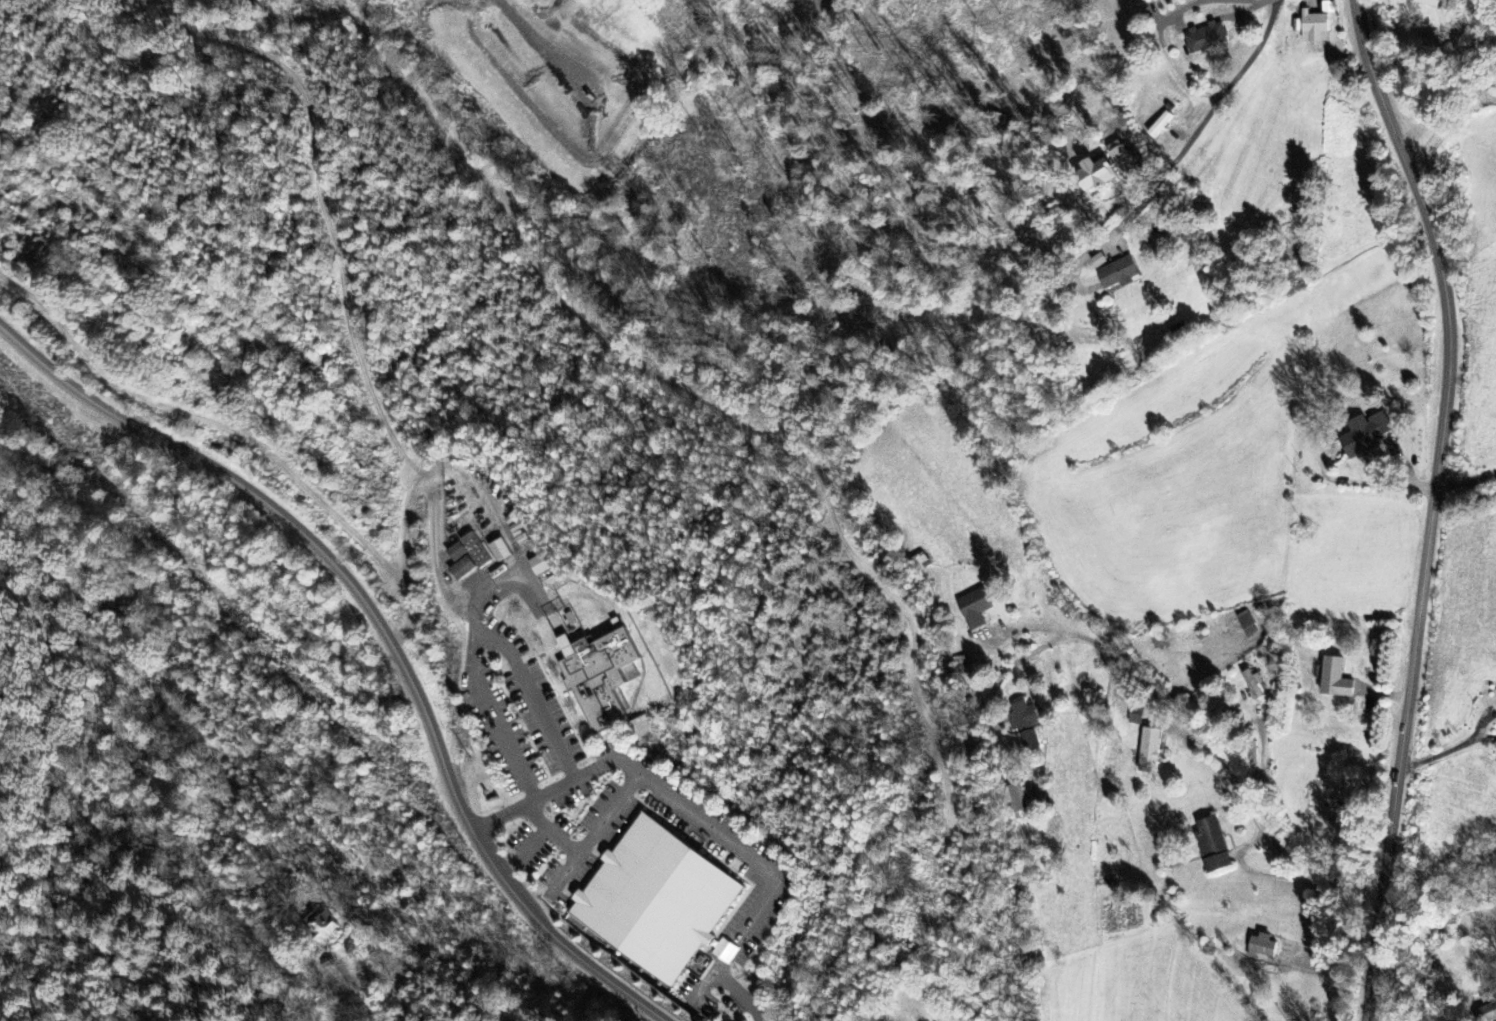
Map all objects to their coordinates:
road: (1255, 0)
building: (1432, 3)
building: (1327, 8)
road: (1173, 13)
building: (1314, 28)
building: (1205, 38)
road: (1208, 115)
road: (1446, 115)
building: (1159, 125)
building: (1118, 154)
building: (1095, 175)
building: (1098, 262)
building: (1119, 274)
building: (1358, 442)
road: (1464, 497)
road: (1434, 504)
building: (499, 551)
building: (467, 558)
building: (539, 566)
building: (974, 609)
building: (1247, 625)
road: (382, 630)
building: (1160, 643)
building: (598, 677)
building: (1335, 680)
building: (1252, 685)
building: (1024, 725)
building: (1154, 725)
building: (1148, 756)
road: (1236, 775)
building: (1016, 799)
building: (1212, 845)
building: (655, 901)
building: (325, 929)
building: (1261, 947)
building: (1487, 1013)
road: (1375, 1017)

